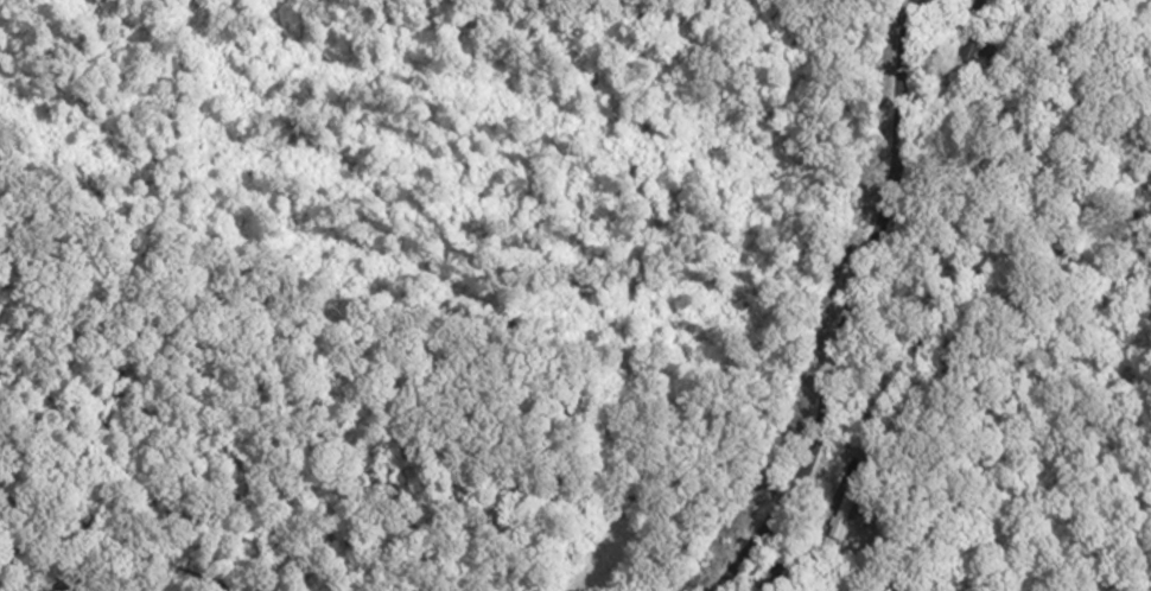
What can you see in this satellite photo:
building: (972, 59)
road: (850, 309)
building: (845, 517)
road: (116, 553)
road: (810, 554)
road: (96, 576)

